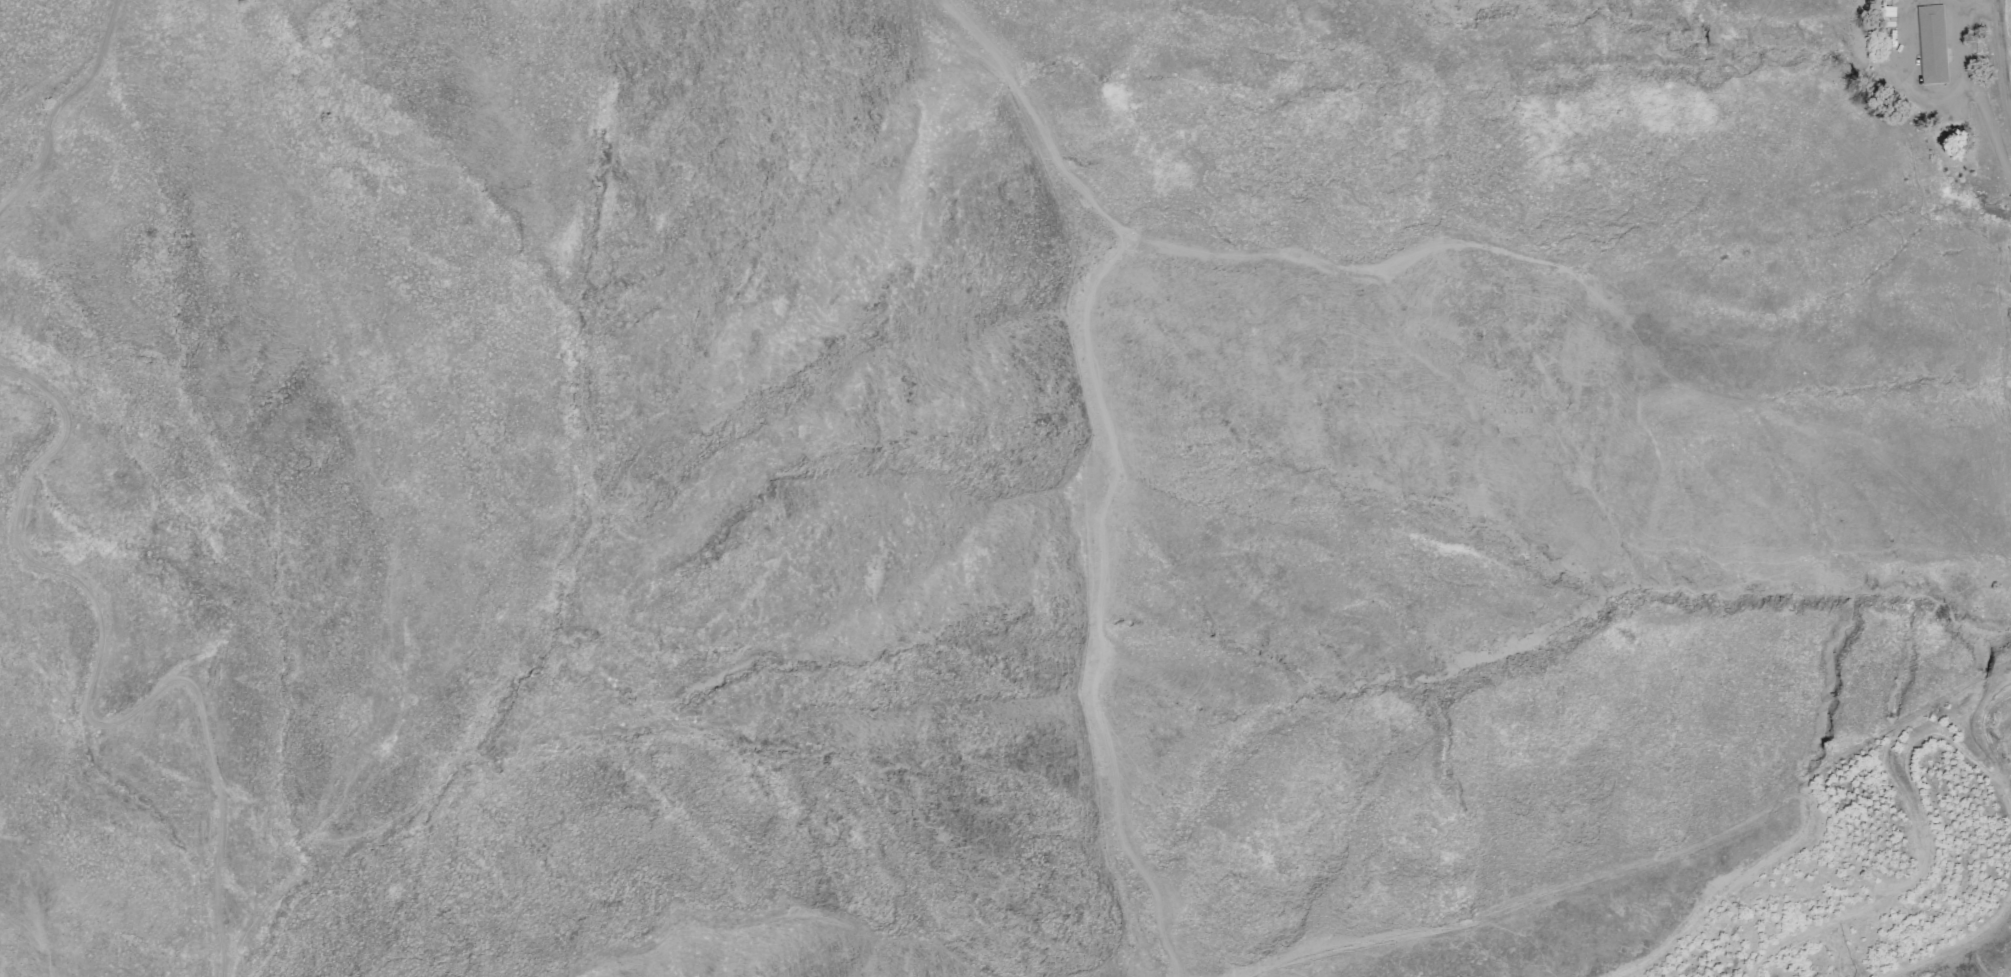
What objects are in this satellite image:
road: (1973, 10)
building: (1931, 44)
road: (2005, 46)
road: (1972, 55)
road: (1934, 98)
road: (65, 104)
road: (1126, 461)
road: (84, 705)

